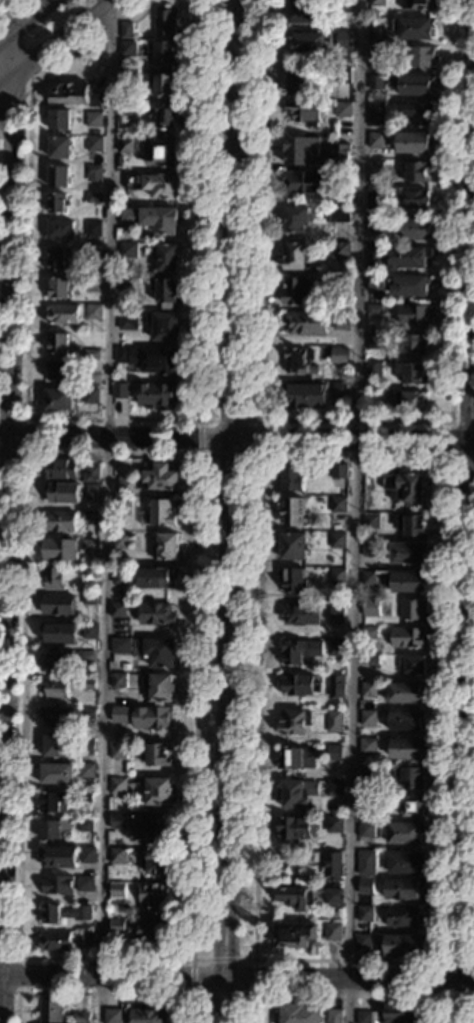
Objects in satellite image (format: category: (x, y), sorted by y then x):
building: (376, 3)
building: (417, 4)
road: (8, 6)
building: (342, 6)
building: (300, 11)
road: (26, 21)
building: (166, 21)
building: (416, 28)
building: (126, 30)
building: (377, 37)
building: (344, 40)
road: (49, 41)
building: (308, 43)
building: (128, 49)
building: (166, 52)
building: (378, 53)
building: (422, 57)
building: (123, 65)
road: (26, 68)
building: (341, 75)
building: (127, 79)
building: (299, 80)
building: (161, 83)
building: (377, 83)
building: (412, 84)
building: (76, 95)
building: (343, 109)
building: (128, 110)
building: (305, 112)
building: (419, 113)
building: (166, 114)
building: (375, 115)
building: (59, 119)
building: (94, 120)
building: (376, 140)
building: (415, 142)
building: (94, 144)
building: (127, 145)
building: (59, 147)
building: (303, 152)
building: (162, 153)
building: (341, 157)
building: (375, 169)
building: (417, 172)
building: (94, 174)
building: (58, 176)
building: (307, 183)
building: (155, 184)
building: (341, 197)
building: (94, 199)
building: (416, 199)
building: (373, 201)
building: (57, 203)
building: (338, 215)
building: (150, 219)
building: (295, 219)
road: (27, 225)
building: (375, 225)
building: (60, 229)
building: (93, 229)
building: (415, 229)
building: (128, 250)
building: (341, 250)
building: (93, 254)
road: (200, 254)
building: (296, 256)
building: (165, 257)
building: (375, 257)
building: (408, 257)
building: (57, 260)
building: (376, 283)
building: (92, 284)
building: (126, 285)
building: (409, 285)
building: (341, 286)
building: (61, 287)
building: (165, 290)
building: (298, 291)
building: (373, 309)
building: (93, 312)
building: (62, 314)
building: (413, 314)
building: (127, 321)
building: (340, 321)
building: (305, 323)
building: (163, 326)
building: (375, 341)
building: (58, 343)
building: (414, 344)
building: (91, 354)
building: (122, 355)
building: (339, 355)
building: (160, 360)
building: (299, 361)
building: (373, 370)
building: (61, 371)
building: (411, 373)
building: (91, 378)
building: (120, 390)
building: (339, 391)
building: (90, 395)
building: (157, 395)
building: (305, 395)
building: (58, 399)
building: (408, 402)
road: (357, 421)
road: (25, 434)
road: (237, 435)
road: (449, 441)
road: (259, 455)
road: (8, 465)
building: (60, 469)
building: (338, 471)
building: (91, 474)
building: (292, 477)
building: (150, 479)
building: (403, 487)
building: (91, 491)
building: (62, 492)
building: (337, 504)
building: (123, 506)
road: (107, 509)
road: (231, 511)
road: (355, 511)
building: (162, 512)
building: (293, 512)
building: (90, 514)
road: (468, 516)
building: (58, 520)
building: (371, 521)
building: (412, 525)
building: (120, 540)
building: (337, 540)
building: (89, 545)
building: (292, 546)
building: (166, 547)
building: (370, 548)
building: (58, 550)
building: (408, 552)
building: (89, 571)
building: (337, 576)
building: (120, 577)
building: (156, 578)
building: (368, 578)
building: (53, 579)
building: (295, 580)
building: (409, 581)
building: (88, 600)
building: (57, 604)
building: (370, 607)
building: (118, 610)
building: (413, 610)
building: (337, 613)
building: (156, 614)
building: (299, 614)
building: (90, 631)
building: (369, 631)
building: (62, 633)
building: (408, 637)
building: (120, 646)
building: (336, 647)
building: (300, 651)
building: (160, 652)
building: (86, 656)
building: (370, 660)
building: (55, 662)
building: (415, 665)
building: (119, 680)
building: (300, 683)
building: (88, 684)
building: (336, 686)
building: (158, 687)
building: (55, 688)
building: (368, 689)
building: (404, 693)
building: (87, 713)
building: (119, 714)
building: (58, 716)
building: (368, 718)
building: (152, 719)
building: (405, 720)
building: (334, 721)
building: (294, 722)
building: (85, 744)
building: (56, 746)
building: (367, 746)
building: (406, 748)
building: (118, 750)
building: (332, 752)
building: (158, 755)
building: (296, 758)
building: (87, 770)
building: (56, 774)
building: (367, 774)
building: (408, 777)
building: (119, 786)
building: (334, 787)
building: (158, 792)
building: (296, 793)
building: (85, 797)
building: (53, 802)
building: (367, 802)
building: (412, 806)
building: (118, 821)
building: (149, 825)
building: (334, 825)
building: (85, 826)
building: (296, 828)
building: (52, 829)
building: (366, 829)
building: (405, 833)
building: (87, 854)
building: (117, 855)
building: (59, 858)
building: (156, 861)
building: (366, 862)
building: (406, 862)
building: (333, 864)
building: (85, 884)
building: (56, 885)
building: (366, 886)
building: (403, 889)
building: (116, 890)
building: (154, 896)
building: (334, 896)
building: (296, 898)
building: (64, 913)
building: (365, 913)
building: (403, 917)
building: (116, 927)
building: (333, 931)
building: (152, 932)
building: (296, 934)
building: (88, 938)
building: (54, 941)
building: (363, 941)
building: (401, 945)
road: (254, 959)
road: (189, 960)
road: (17, 975)
road: (237, 978)
road: (443, 980)
road: (102, 994)
road: (253, 996)
road: (347, 996)
road: (459, 1003)
building: (51, 1011)
building: (299, 1013)
building: (401, 1013)
building: (112, 1016)
building: (148, 1016)
building: (334, 1016)
building: (82, 1017)
building: (363, 1017)

